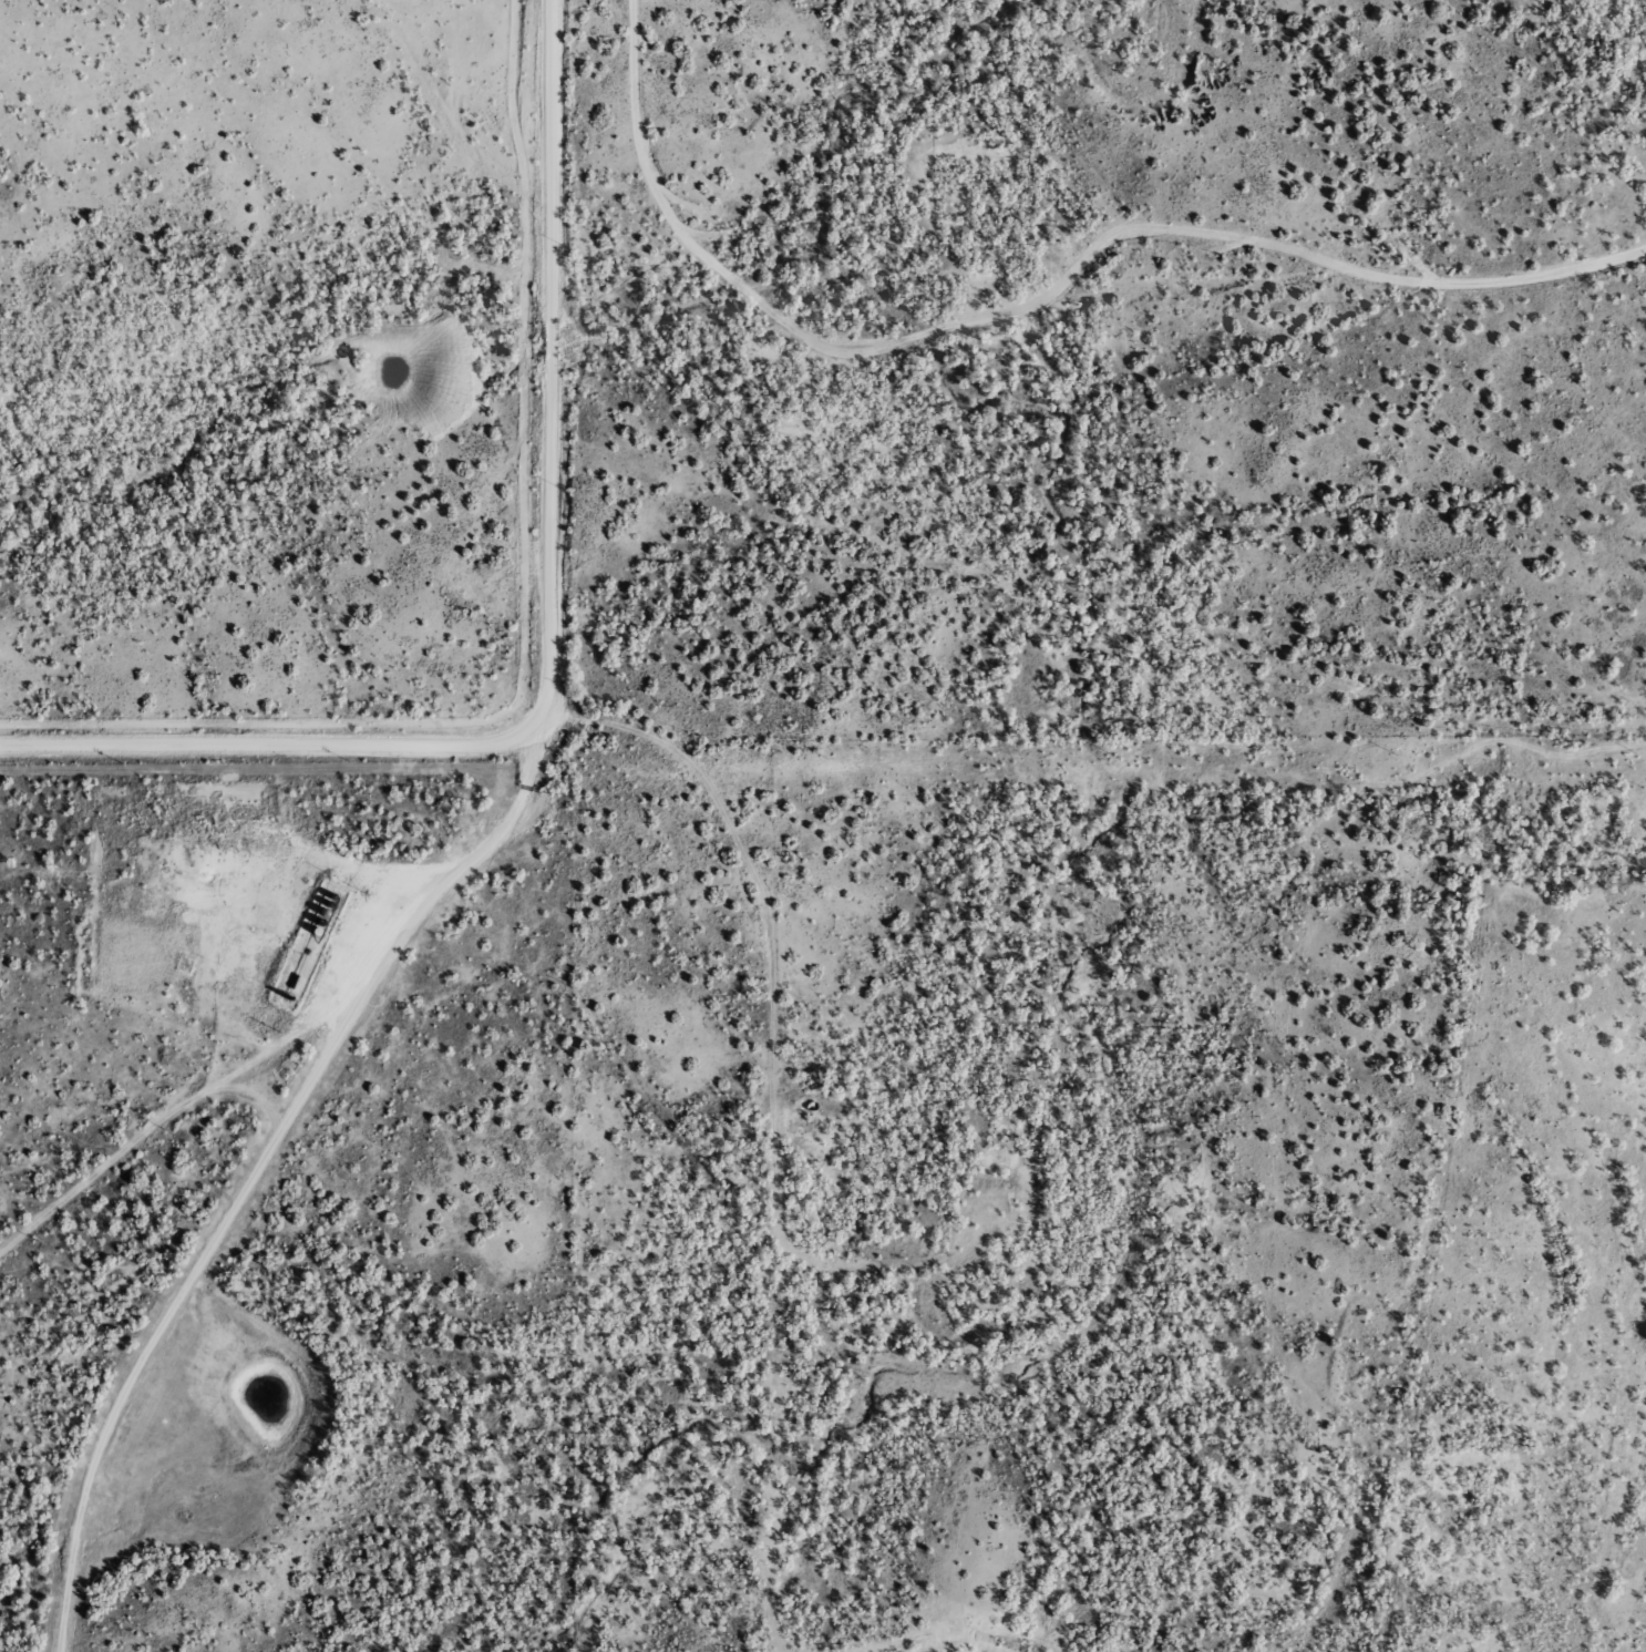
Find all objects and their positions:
road: (1032, 336)
road: (564, 647)
road: (960, 1002)
road: (706, 1078)
road: (173, 1115)
road: (251, 1187)

